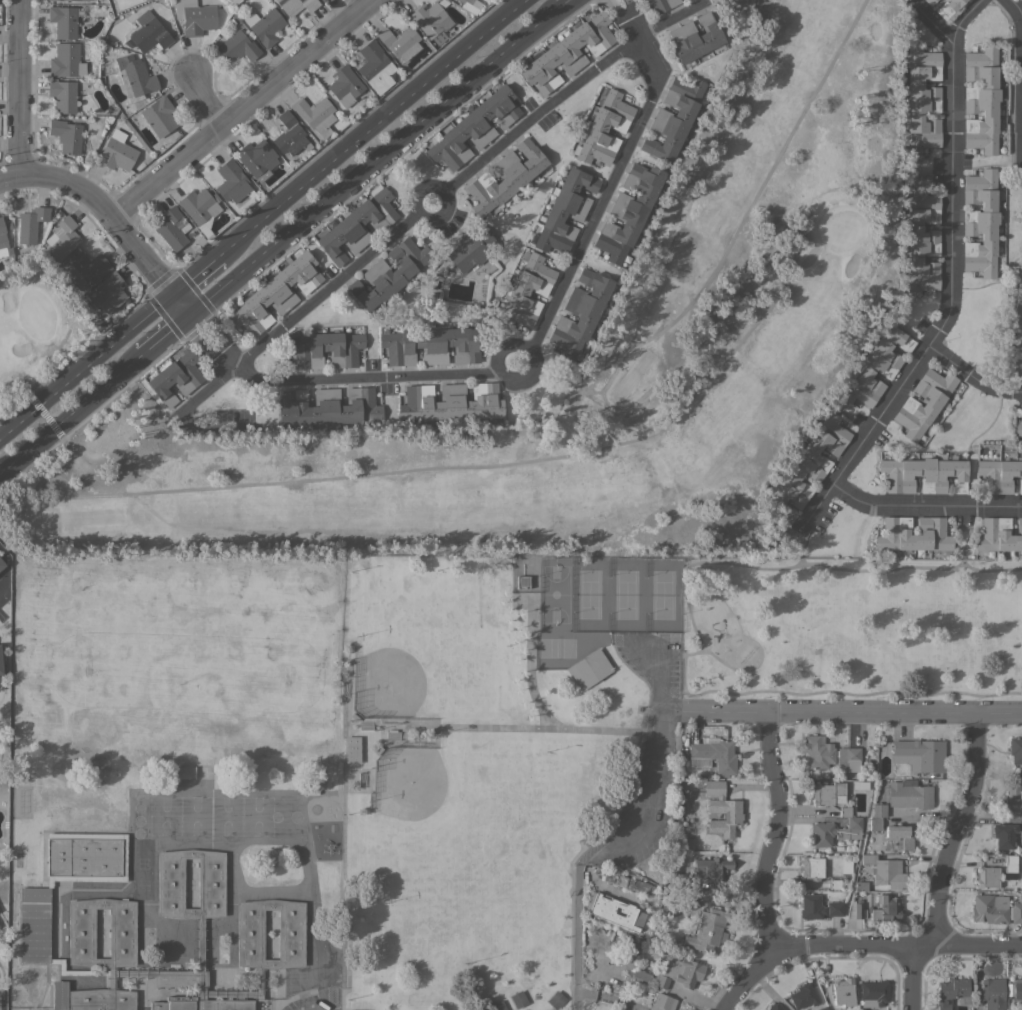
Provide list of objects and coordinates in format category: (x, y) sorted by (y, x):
building: (56, 0)
building: (84, 0)
building: (322, 0)
building: (639, 0)
building: (641, 0)
building: (929, 1)
building: (662, 4)
building: (296, 5)
building: (468, 6)
road: (560, 7)
building: (947, 7)
road: (1021, 15)
building: (194, 16)
building: (63, 21)
building: (431, 21)
road: (930, 22)
building: (265, 26)
building: (147, 33)
building: (695, 38)
road: (1020, 39)
building: (400, 42)
building: (237, 46)
building: (567, 52)
building: (67, 61)
building: (374, 66)
building: (137, 81)
building: (344, 85)
road: (17, 87)
road: (563, 92)
building: (62, 95)
road: (204, 99)
building: (921, 99)
building: (981, 99)
road: (240, 108)
building: (315, 114)
building: (158, 116)
building: (673, 118)
road: (374, 122)
building: (604, 127)
building: (474, 128)
building: (66, 135)
building: (290, 135)
building: (116, 152)
building: (256, 159)
park: (778, 162)
road: (370, 164)
building: (504, 177)
building: (231, 181)
road: (431, 185)
road: (101, 208)
building: (200, 209)
building: (565, 211)
building: (628, 212)
building: (980, 222)
building: (31, 224)
building: (357, 225)
building: (173, 228)
building: (63, 237)
building: (3, 241)
building: (920, 241)
building: (471, 249)
building: (86, 269)
road: (201, 272)
building: (390, 273)
road: (948, 279)
building: (525, 291)
building: (107, 292)
building: (276, 294)
road: (309, 304)
road: (182, 306)
building: (579, 313)
road: (550, 316)
building: (99, 324)
building: (1017, 324)
road: (219, 334)
park: (32, 337)
road: (164, 338)
road: (738, 342)
building: (431, 345)
road: (202, 348)
building: (324, 349)
road: (86, 363)
building: (875, 368)
building: (175, 377)
road: (971, 377)
building: (451, 402)
building: (924, 402)
building: (328, 406)
road: (68, 419)
building: (1018, 424)
building: (810, 461)
building: (923, 475)
building: (999, 475)
road: (924, 503)
building: (913, 534)
building: (999, 536)
road: (803, 544)
road: (802, 563)
building: (1, 564)
building: (522, 582)
park: (554, 594)
park: (623, 595)
park: (420, 649)
building: (0, 667)
building: (589, 669)
park: (185, 673)
building: (0, 684)
road: (831, 692)
park: (471, 705)
road: (840, 711)
building: (352, 749)
building: (1015, 749)
building: (817, 751)
building: (922, 753)
building: (848, 754)
building: (712, 755)
building: (827, 793)
building: (909, 794)
building: (1012, 798)
building: (721, 809)
building: (877, 816)
road: (632, 822)
road: (954, 828)
building: (836, 829)
building: (1004, 834)
building: (899, 836)
park: (464, 846)
building: (1010, 863)
road: (764, 865)
building: (846, 866)
building: (712, 867)
building: (811, 867)
building: (884, 871)
building: (987, 877)
building: (680, 880)
building: (631, 884)
building: (674, 897)
building: (819, 907)
building: (886, 908)
building: (855, 909)
building: (995, 909)
building: (613, 910)
building: (707, 931)
building: (34, 938)
road: (892, 945)
building: (678, 967)
building: (639, 976)
road: (910, 977)
building: (661, 980)
building: (1017, 989)
building: (843, 991)
building: (874, 991)
building: (950, 992)
building: (993, 993)
building: (59, 995)
building: (803, 996)
building: (518, 999)
building: (555, 1000)
building: (662, 1002)
building: (497, 1005)
building: (774, 1007)
building: (822, 1008)

